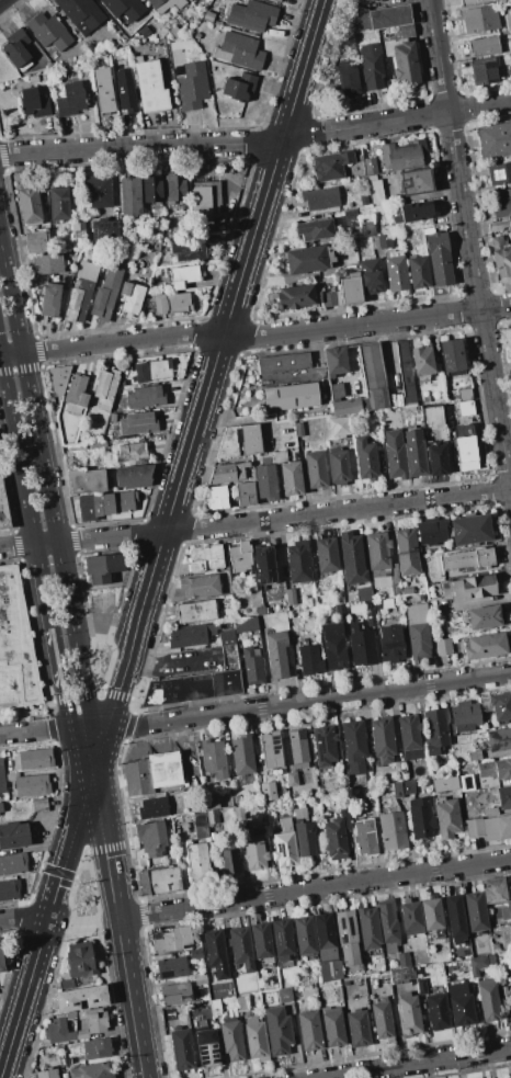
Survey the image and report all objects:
building: (276, 0)
building: (474, 2)
building: (166, 4)
building: (124, 8)
building: (81, 14)
building: (208, 15)
building: (251, 15)
building: (389, 15)
building: (479, 19)
building: (356, 20)
building: (508, 22)
building: (151, 27)
building: (47, 31)
building: (406, 31)
building: (174, 32)
building: (484, 46)
building: (91, 48)
building: (16, 49)
building: (238, 50)
building: (402, 59)
building: (371, 65)
building: (84, 66)
road: (303, 69)
building: (484, 70)
building: (45, 78)
building: (33, 79)
building: (348, 79)
building: (190, 84)
building: (150, 87)
building: (239, 87)
building: (102, 89)
building: (123, 90)
building: (70, 99)
building: (32, 103)
building: (249, 111)
road: (396, 118)
building: (493, 139)
road: (141, 148)
building: (400, 154)
building: (331, 164)
building: (370, 166)
building: (499, 173)
building: (416, 180)
building: (154, 189)
building: (175, 189)
building: (374, 191)
building: (98, 192)
building: (130, 196)
building: (320, 197)
building: (204, 198)
building: (363, 201)
building: (501, 203)
building: (57, 204)
building: (29, 206)
building: (415, 212)
building: (350, 218)
building: (499, 226)
building: (78, 228)
building: (365, 228)
building: (104, 229)
building: (314, 229)
road: (252, 237)
building: (383, 238)
building: (37, 241)
building: (372, 241)
building: (351, 247)
road: (470, 247)
building: (188, 250)
building: (438, 256)
building: (500, 257)
building: (310, 258)
building: (47, 263)
building: (395, 271)
building: (419, 272)
building: (370, 275)
building: (182, 276)
building: (327, 281)
building: (349, 288)
building: (80, 293)
building: (106, 295)
building: (132, 297)
building: (294, 297)
building: (328, 298)
building: (50, 299)
building: (171, 303)
road: (266, 336)
road: (11, 354)
building: (451, 356)
building: (336, 361)
building: (283, 362)
building: (422, 362)
building: (152, 370)
building: (405, 372)
building: (304, 375)
building: (58, 378)
building: (366, 385)
building: (105, 389)
building: (336, 392)
building: (458, 392)
building: (76, 395)
building: (145, 396)
building: (289, 397)
building: (465, 408)
building: (433, 417)
building: (137, 423)
building: (339, 427)
building: (298, 429)
road: (193, 433)
building: (239, 441)
building: (98, 445)
building: (76, 447)
building: (464, 449)
building: (130, 452)
building: (396, 458)
building: (416, 458)
building: (365, 459)
building: (435, 459)
building: (339, 467)
building: (316, 469)
building: (227, 474)
building: (134, 476)
building: (291, 478)
building: (86, 480)
building: (265, 481)
road: (47, 488)
road: (24, 491)
building: (245, 495)
building: (217, 498)
building: (113, 503)
building: (86, 508)
building: (2, 509)
road: (284, 518)
building: (470, 529)
building: (431, 531)
road: (46, 543)
road: (16, 545)
building: (406, 546)
building: (326, 555)
building: (204, 558)
building: (352, 558)
building: (239, 559)
building: (378, 559)
building: (468, 559)
building: (298, 561)
building: (264, 565)
building: (105, 567)
building: (395, 581)
building: (198, 586)
building: (468, 588)
building: (363, 593)
building: (291, 597)
road: (482, 600)
building: (383, 604)
building: (259, 610)
building: (340, 610)
building: (195, 612)
building: (370, 615)
building: (485, 616)
building: (245, 624)
building: (418, 631)
building: (191, 635)
road: (132, 637)
building: (226, 637)
building: (390, 643)
building: (361, 645)
building: (485, 645)
building: (16, 646)
building: (333, 646)
building: (443, 647)
building: (276, 655)
road: (172, 657)
road: (56, 659)
building: (309, 659)
parking lot: (186, 662)
building: (252, 666)
building: (192, 688)
building: (500, 707)
road: (253, 708)
building: (464, 717)
road: (73, 718)
building: (435, 731)
building: (409, 736)
building: (382, 739)
building: (499, 739)
traffic signals: (94, 740)
building: (323, 745)
road: (180, 747)
building: (298, 748)
building: (271, 749)
building: (354, 749)
building: (242, 754)
building: (474, 754)
building: (213, 758)
building: (33, 759)
building: (164, 769)
building: (496, 769)
building: (404, 771)
building: (2, 778)
building: (137, 778)
building: (292, 779)
building: (465, 783)
building: (30, 784)
building: (444, 784)
building: (407, 787)
building: (393, 790)
building: (268, 791)
building: (503, 797)
building: (237, 798)
building: (211, 802)
building: (327, 802)
building: (39, 805)
building: (1, 807)
building: (152, 808)
building: (490, 812)
building: (478, 813)
building: (238, 814)
building: (212, 816)
building: (447, 817)
building: (420, 818)
building: (200, 825)
building: (474, 827)
building: (497, 828)
road: (104, 829)
road: (75, 831)
building: (394, 831)
building: (304, 833)
building: (13, 835)
building: (150, 838)
building: (364, 838)
building: (336, 839)
building: (284, 844)
building: (254, 852)
building: (229, 862)
building: (196, 863)
building: (12, 864)
building: (160, 881)
road: (315, 887)
building: (10, 890)
building: (495, 890)
building: (510, 892)
building: (475, 911)
building: (506, 912)
building: (431, 914)
building: (411, 917)
road: (23, 918)
building: (455, 919)
road: (83, 922)
building: (510, 924)
building: (387, 926)
building: (368, 930)
building: (305, 935)
building: (347, 937)
building: (282, 939)
building: (172, 940)
building: (262, 942)
building: (240, 947)
building: (327, 947)
building: (214, 949)
building: (196, 954)
building: (404, 961)
building: (80, 962)
building: (1, 963)
building: (479, 964)
building: (171, 967)
building: (399, 975)
building: (198, 979)
building: (420, 986)
building: (175, 994)
building: (285, 995)
building: (80, 998)
road: (133, 998)
road: (23, 999)
building: (487, 1000)
building: (242, 1002)
building: (459, 1006)
building: (216, 1007)
building: (436, 1012)
building: (409, 1013)
building: (69, 1014)
building: (382, 1019)
building: (94, 1020)
building: (332, 1028)
building: (357, 1028)
building: (58, 1031)
building: (277, 1031)
building: (309, 1031)
building: (81, 1034)
building: (256, 1037)
building: (231, 1039)
building: (181, 1047)
building: (95, 1048)
building: (207, 1048)
road: (416, 1062)
building: (90, 1071)
building: (46, 1074)
building: (509, 1077)

